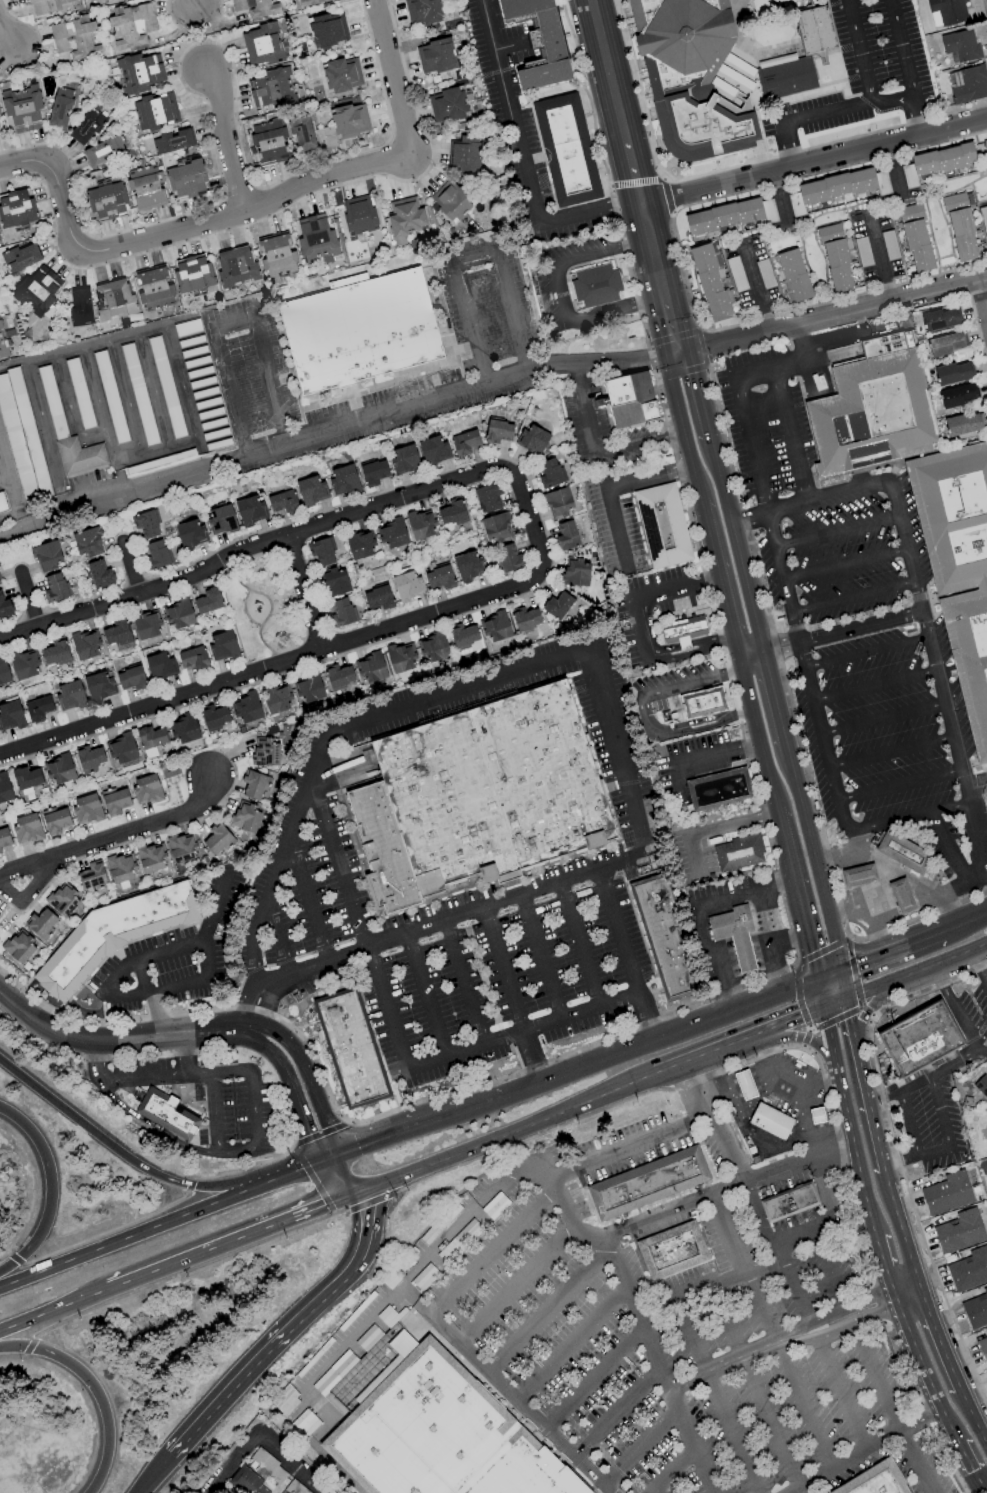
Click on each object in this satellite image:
building: (98, 0)
building: (310, 2)
road: (189, 3)
building: (51, 6)
building: (255, 7)
building: (422, 12)
building: (946, 12)
building: (132, 25)
building: (813, 29)
building: (327, 30)
building: (74, 38)
road: (7, 40)
building: (540, 42)
building: (262, 44)
building: (959, 46)
road: (901, 48)
road: (858, 52)
building: (435, 56)
road: (607, 71)
building: (139, 72)
building: (342, 74)
building: (784, 75)
road: (392, 77)
building: (690, 77)
building: (967, 84)
building: (270, 89)
road: (892, 101)
building: (447, 105)
building: (60, 107)
building: (22, 108)
building: (155, 112)
road: (917, 116)
building: (348, 120)
road: (805, 122)
building: (86, 127)
building: (301, 132)
building: (172, 141)
building: (268, 141)
road: (222, 142)
building: (984, 145)
building: (565, 149)
building: (102, 150)
building: (465, 154)
road: (520, 158)
building: (937, 162)
road: (813, 163)
road: (631, 176)
building: (185, 179)
building: (145, 187)
building: (106, 200)
building: (450, 201)
building: (16, 209)
building: (358, 215)
building: (728, 217)
building: (404, 219)
building: (960, 226)
road: (175, 231)
building: (915, 238)
building: (316, 239)
road: (648, 242)
building: (277, 256)
building: (19, 257)
road: (474, 257)
building: (835, 258)
road: (876, 258)
building: (235, 266)
building: (192, 274)
building: (793, 275)
building: (711, 281)
building: (595, 285)
building: (153, 287)
road: (754, 287)
road: (560, 294)
building: (113, 299)
road: (982, 301)
building: (80, 308)
road: (665, 315)
building: (939, 319)
road: (229, 325)
building: (359, 331)
road: (800, 340)
road: (826, 343)
building: (946, 343)
building: (2, 345)
road: (33, 357)
road: (12, 363)
road: (789, 364)
road: (751, 372)
building: (953, 373)
road: (488, 383)
building: (957, 395)
road: (698, 398)
building: (630, 399)
building: (51, 401)
building: (872, 408)
road: (678, 414)
building: (963, 424)
building: (497, 431)
road: (789, 436)
building: (532, 439)
road: (639, 442)
building: (464, 443)
road: (748, 446)
building: (433, 450)
road: (713, 457)
building: (404, 459)
road: (599, 467)
building: (373, 472)
building: (549, 473)
road: (120, 477)
building: (343, 480)
road: (648, 480)
road: (7, 481)
road: (3, 482)
building: (310, 490)
building: (487, 497)
road: (829, 499)
building: (282, 502)
building: (557, 503)
building: (2, 504)
building: (250, 510)
road: (14, 512)
building: (451, 512)
building: (221, 520)
road: (748, 521)
building: (146, 524)
building: (420, 524)
building: (661, 525)
building: (495, 527)
road: (303, 532)
building: (392, 533)
road: (837, 533)
building: (190, 534)
building: (566, 535)
building: (87, 542)
building: (359, 544)
building: (321, 551)
building: (156, 555)
building: (46, 556)
building: (507, 558)
road: (739, 562)
road: (715, 563)
building: (467, 566)
road: (846, 566)
building: (958, 566)
building: (576, 572)
building: (99, 574)
building: (439, 577)
building: (0, 580)
building: (335, 582)
building: (406, 586)
building: (55, 587)
road: (675, 589)
road: (306, 593)
road: (854, 597)
building: (377, 598)
road: (27, 600)
building: (208, 600)
building: (557, 606)
building: (5, 607)
building: (341, 612)
building: (178, 614)
building: (525, 618)
building: (146, 624)
building: (495, 626)
building: (682, 628)
road: (639, 632)
road: (843, 632)
building: (116, 633)
building: (463, 635)
building: (85, 644)
building: (222, 646)
building: (432, 647)
road: (690, 651)
building: (55, 653)
road: (868, 654)
building: (192, 658)
building: (400, 658)
road: (752, 662)
building: (23, 664)
building: (160, 665)
road: (270, 666)
building: (370, 667)
building: (3, 671)
road: (939, 673)
road: (807, 674)
building: (338, 676)
building: (131, 678)
road: (876, 686)
building: (99, 687)
building: (308, 688)
building: (70, 695)
building: (276, 699)
building: (703, 703)
building: (38, 709)
building: (246, 709)
road: (646, 714)
road: (778, 715)
building: (10, 716)
road: (753, 716)
building: (214, 717)
road: (885, 719)
building: (184, 727)
road: (333, 733)
building: (150, 740)
building: (121, 749)
building: (265, 752)
road: (893, 753)
road: (718, 757)
building: (89, 758)
building: (60, 769)
building: (26, 778)
building: (253, 784)
building: (4, 788)
building: (717, 788)
road: (901, 788)
building: (146, 789)
road: (978, 789)
road: (773, 795)
building: (478, 797)
building: (115, 802)
building: (86, 809)
road: (912, 817)
building: (55, 821)
building: (26, 828)
road: (715, 828)
building: (4, 837)
road: (114, 839)
building: (217, 839)
road: (856, 840)
road: (945, 846)
building: (181, 848)
building: (0, 851)
building: (902, 851)
building: (739, 853)
building: (151, 858)
road: (896, 867)
building: (121, 868)
road: (601, 870)
road: (976, 872)
road: (817, 873)
building: (857, 875)
building: (92, 876)
road: (952, 885)
road: (875, 887)
road: (26, 891)
road: (797, 895)
building: (900, 895)
building: (62, 900)
road: (307, 901)
road: (694, 911)
road: (867, 920)
building: (40, 923)
road: (964, 923)
road: (356, 925)
road: (621, 933)
building: (112, 934)
building: (733, 934)
gas station: (733, 934)
building: (667, 938)
road: (275, 940)
road: (771, 941)
road: (914, 943)
road: (579, 946)
building: (18, 947)
road: (858, 947)
road: (169, 950)
traffic signals: (810, 952)
road: (541, 959)
road: (863, 963)
road: (321, 964)
road: (978, 966)
traffic signals: (854, 967)
road: (916, 971)
road: (501, 972)
road: (828, 976)
road: (936, 977)
road: (464, 985)
road: (842, 985)
road: (247, 993)
road: (820, 995)
road: (149, 997)
road: (426, 997)
road: (834, 1004)
road: (266, 1006)
road: (868, 1009)
road: (650, 1016)
traffic signals: (849, 1017)
traffic signals: (800, 1018)
road: (959, 1020)
road: (789, 1021)
road: (522, 1032)
road: (661, 1038)
road: (806, 1039)
building: (921, 1039)
road: (119, 1042)
road: (831, 1044)
building: (352, 1048)
road: (981, 1051)
road: (704, 1054)
road: (183, 1055)
road: (812, 1055)
road: (530, 1058)
road: (101, 1064)
road: (930, 1075)
road: (175, 1078)
road: (784, 1080)
road: (309, 1081)
road: (634, 1083)
building: (745, 1085)
gas station: (745, 1085)
road: (864, 1085)
road: (694, 1090)
building: (983, 1090)
road: (293, 1095)
road: (758, 1097)
road: (875, 1098)
building: (967, 1101)
road: (484, 1104)
road: (398, 1108)
road: (802, 1112)
building: (165, 1113)
building: (771, 1121)
road: (907, 1124)
road: (155, 1127)
road: (943, 1128)
road: (320, 1134)
traffic signals: (309, 1135)
road: (755, 1136)
road: (391, 1138)
road: (293, 1144)
road: (476, 1147)
road: (625, 1149)
road: (726, 1149)
traffic signals: (358, 1151)
road: (895, 1152)
road: (235, 1153)
road: (119, 1156)
road: (855, 1157)
road: (907, 1158)
road: (890, 1161)
road: (251, 1168)
road: (292, 1175)
road: (351, 1175)
road: (311, 1181)
road: (331, 1183)
building: (648, 1183)
road: (189, 1185)
road: (725, 1190)
road: (48, 1192)
building: (948, 1193)
road: (372, 1199)
building: (789, 1202)
traffic signals: (325, 1208)
traffic signals: (360, 1209)
road: (812, 1228)
road: (901, 1229)
road: (105, 1231)
building: (960, 1231)
road: (763, 1234)
road: (131, 1238)
building: (672, 1250)
road: (205, 1252)
road: (490, 1252)
road: (4, 1254)
road: (13, 1260)
road: (883, 1266)
road: (766, 1267)
road: (188, 1270)
building: (969, 1270)
road: (517, 1281)
road: (792, 1283)
road: (693, 1289)
road: (907, 1292)
road: (842, 1308)
road: (548, 1309)
building: (976, 1311)
road: (643, 1314)
road: (35, 1316)
road: (849, 1324)
road: (366, 1325)
road: (774, 1332)
road: (571, 1338)
road: (939, 1339)
road: (28, 1347)
building: (983, 1348)
road: (267, 1349)
road: (15, 1358)
road: (733, 1361)
road: (925, 1370)
road: (595, 1374)
road: (506, 1389)
road: (92, 1392)
road: (841, 1392)
road: (759, 1398)
road: (719, 1405)
road: (890, 1409)
road: (618, 1410)
road: (972, 1419)
road: (265, 1431)
building: (438, 1433)
road: (641, 1446)
road: (846, 1460)
road: (970, 1465)
road: (673, 1470)
building: (257, 1475)
building: (876, 1480)
road: (985, 1486)
road: (984, 1490)
road: (655, 1491)

